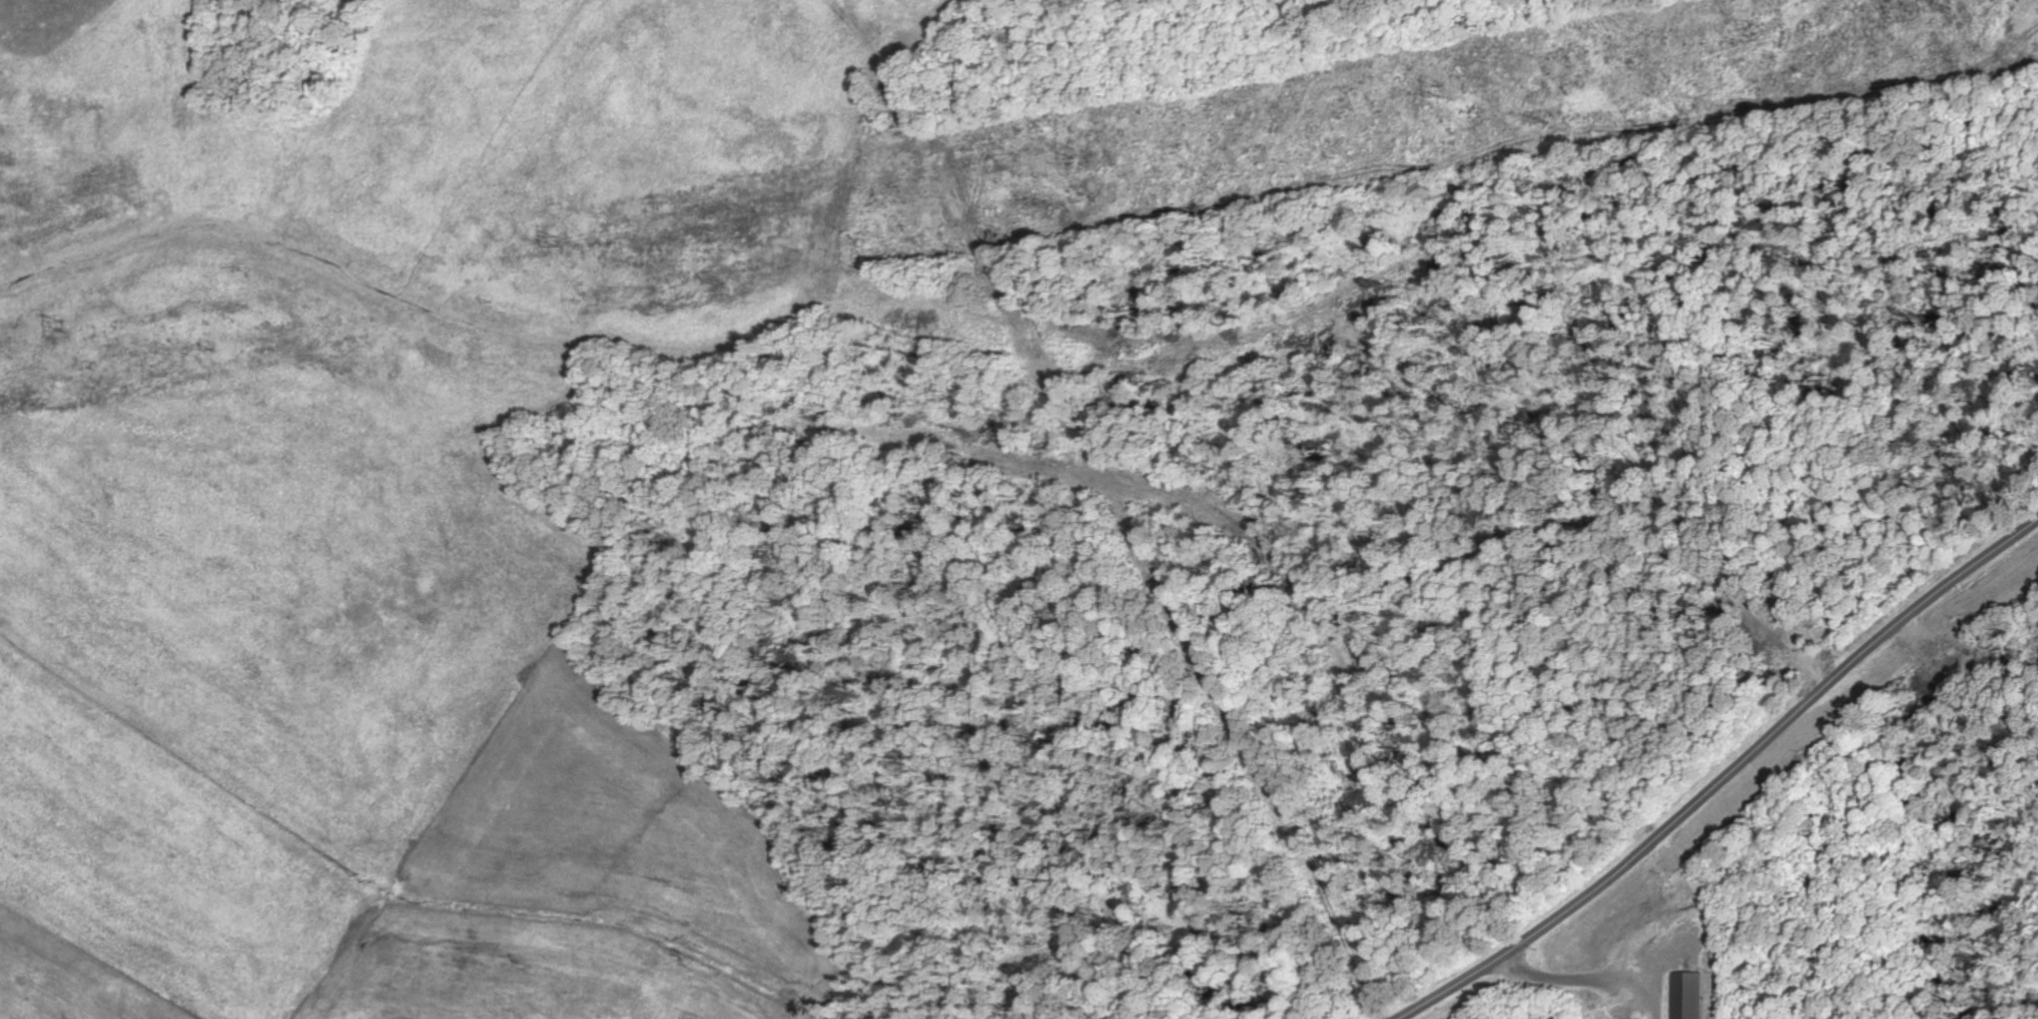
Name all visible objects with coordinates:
power tower: (1440, 85)
power tower: (1075, 146)
power tower: (561, 238)
power tower: (63, 323)
road: (1727, 779)
building: (1690, 995)

